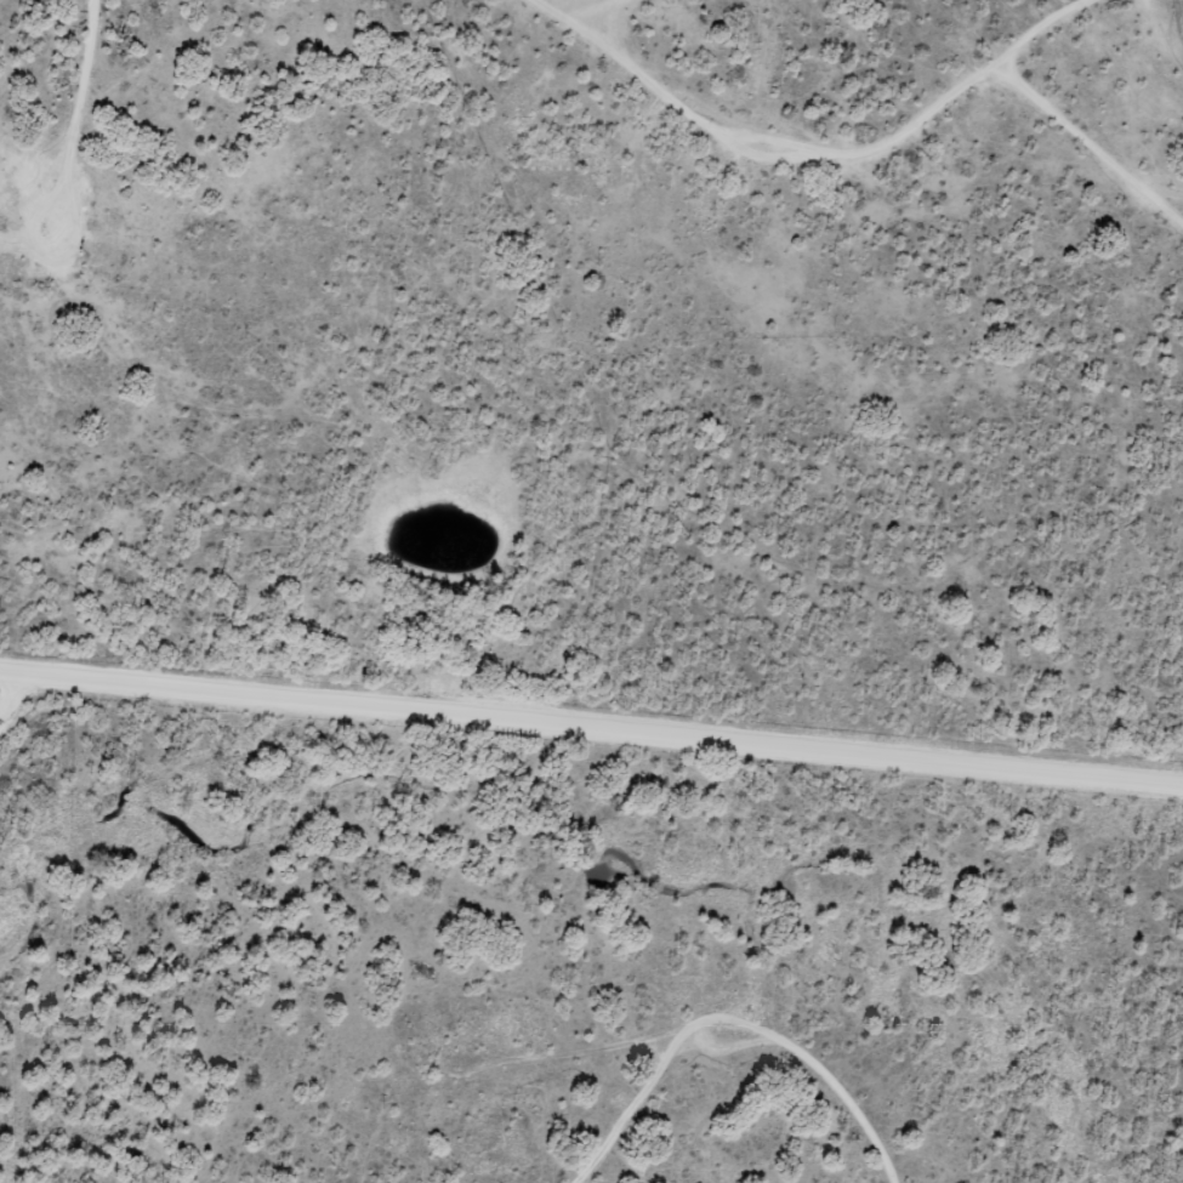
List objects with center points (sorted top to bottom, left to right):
road: (591, 732)
road: (346, 1028)

